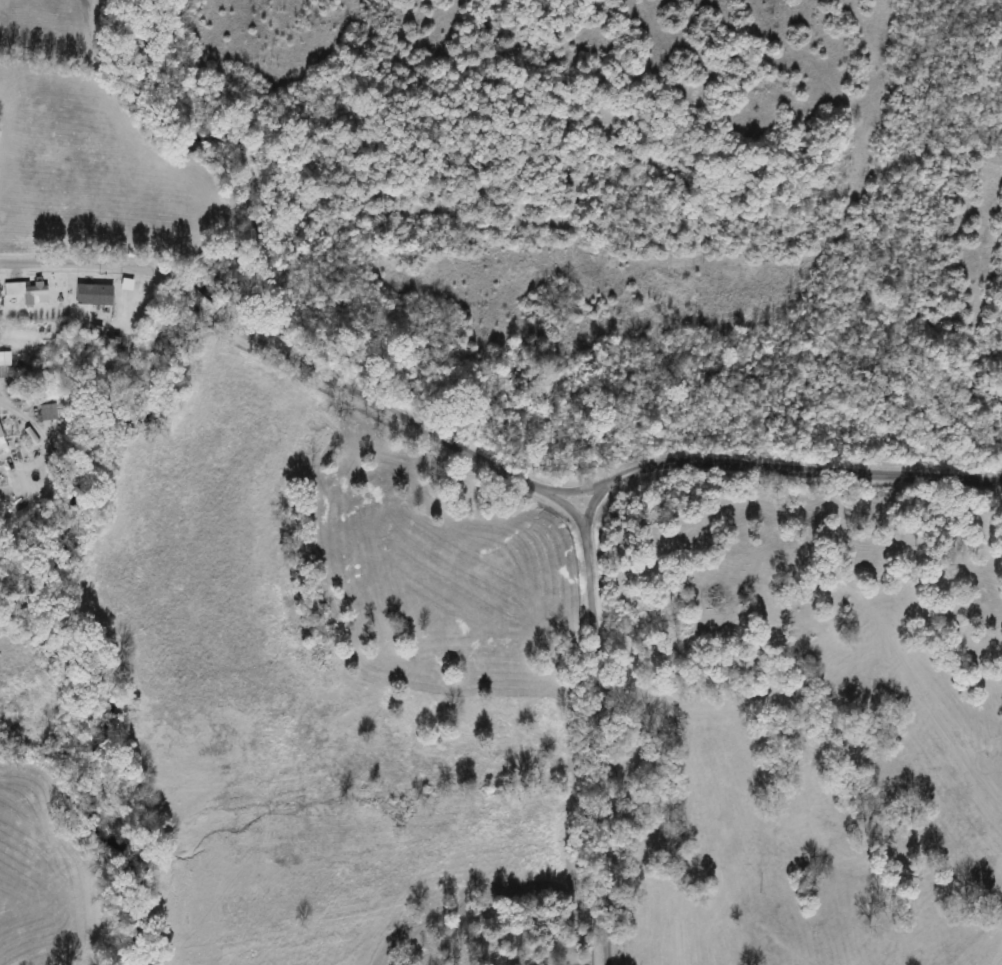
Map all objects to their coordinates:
building: (28, 291)
building: (92, 295)
building: (3, 359)
road: (291, 360)
road: (10, 406)
building: (1, 447)
road: (788, 469)
road: (598, 728)

